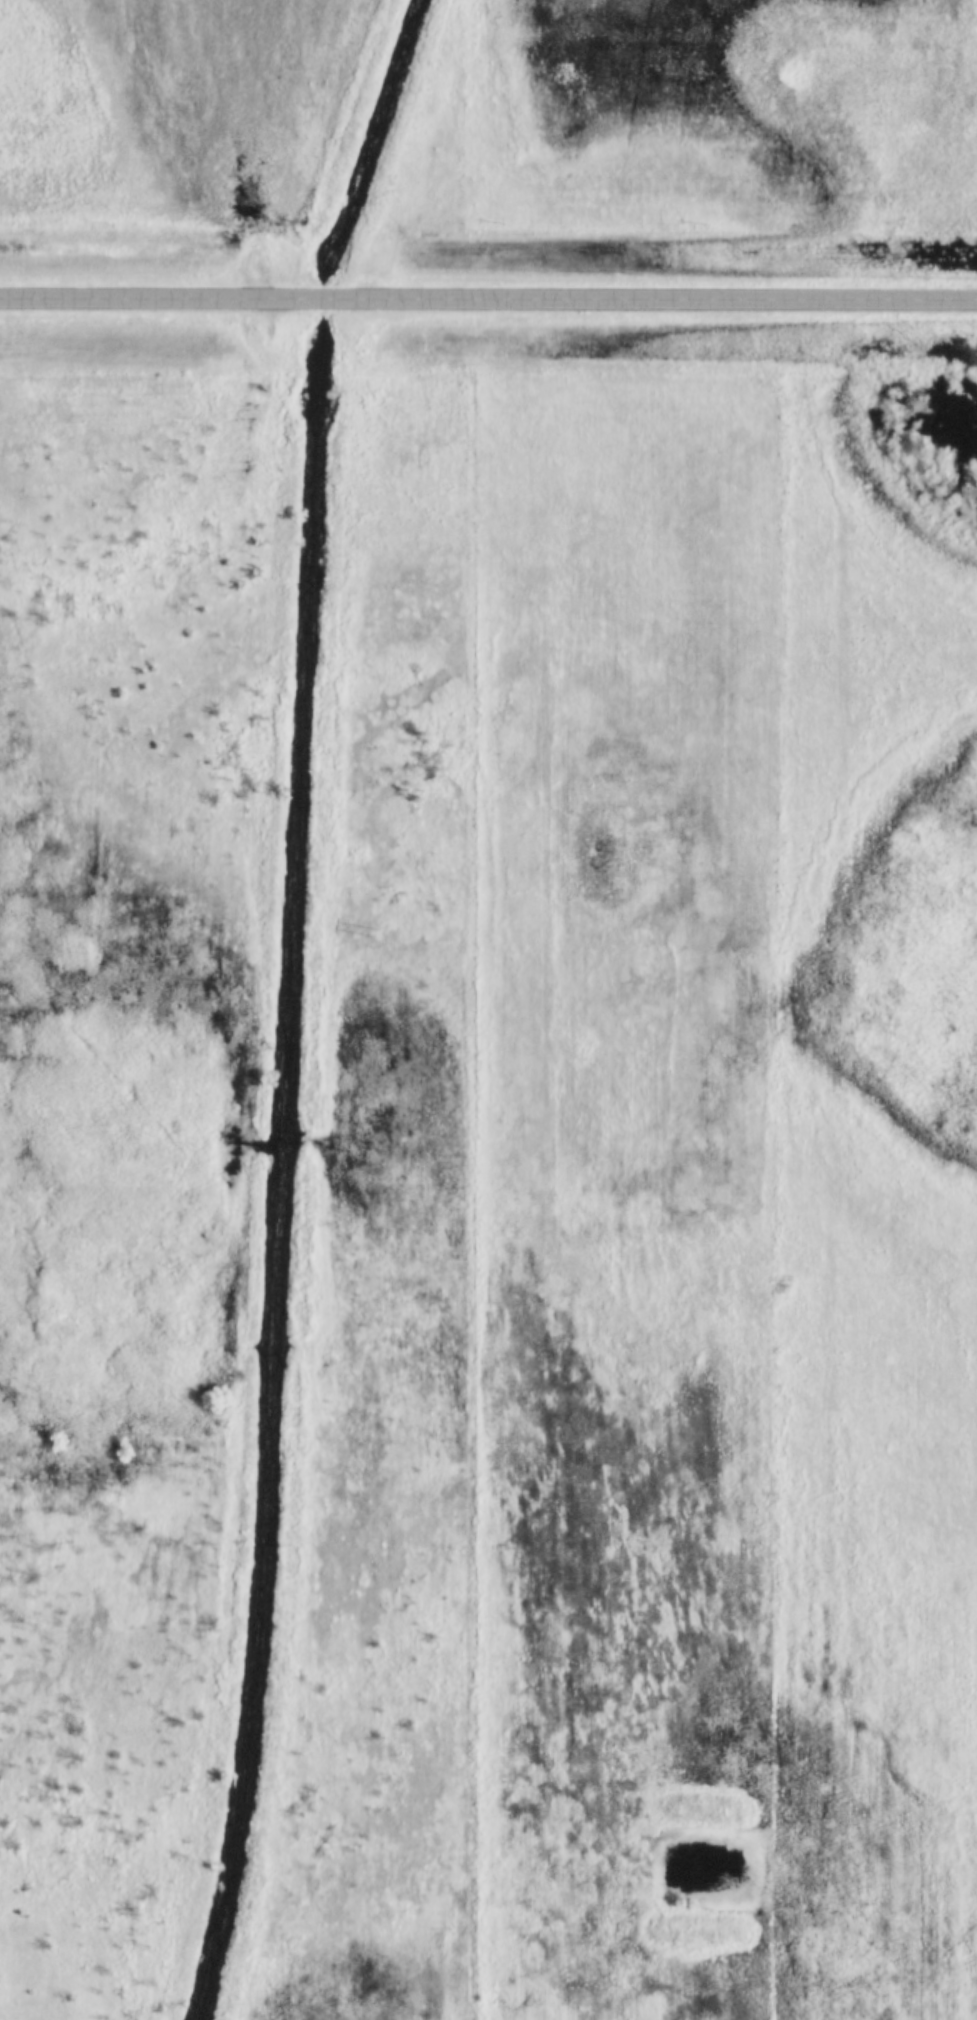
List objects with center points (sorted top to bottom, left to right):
crop: (83, 124)
road: (488, 299)
power tower: (378, 934)
power tower: (896, 1029)

